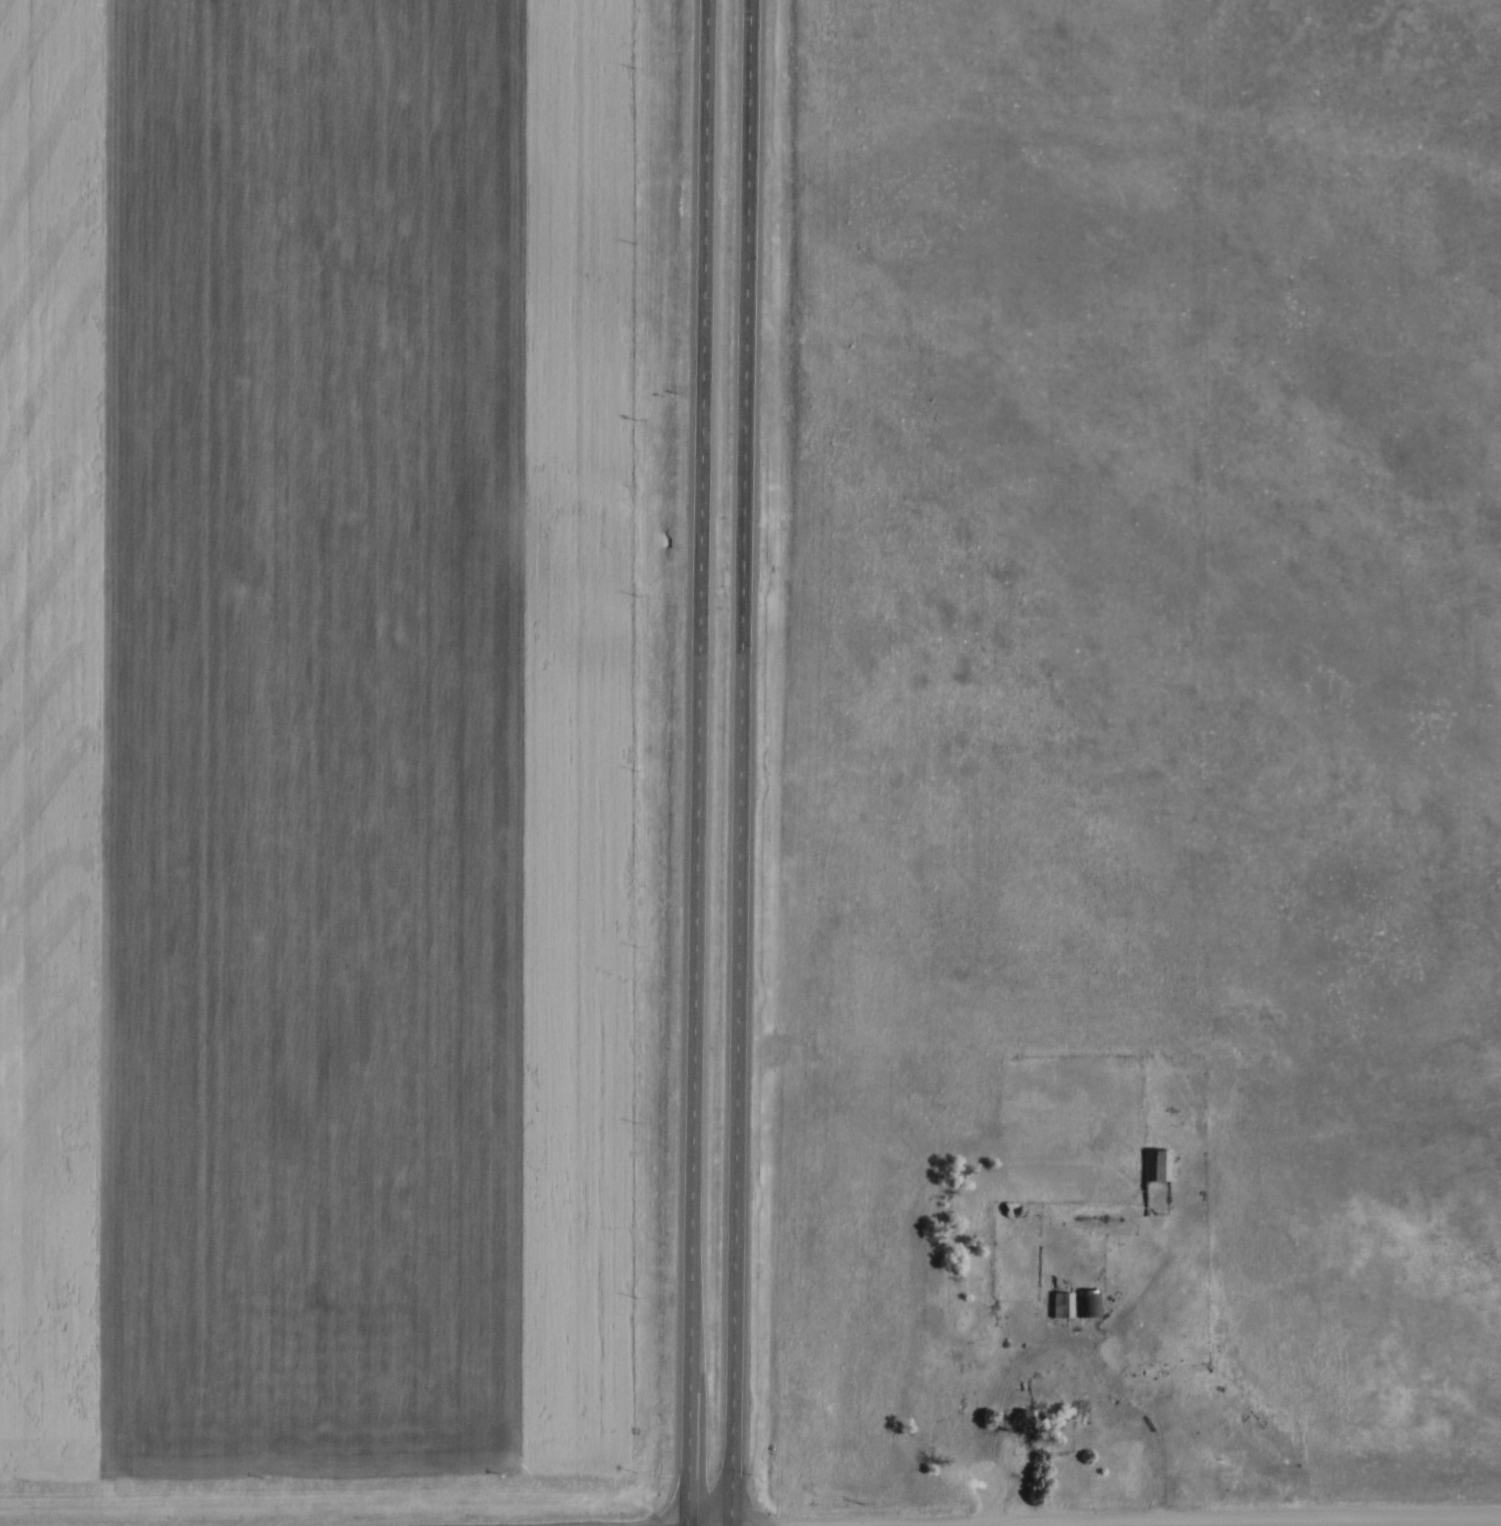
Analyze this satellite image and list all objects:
crop: (315, 734)
road: (743, 762)
road: (700, 763)
building: (1157, 1163)
building: (1012, 1206)
building: (1090, 1301)
building: (1062, 1303)
road: (1069, 1350)
building: (1033, 1418)
road: (1331, 1523)

